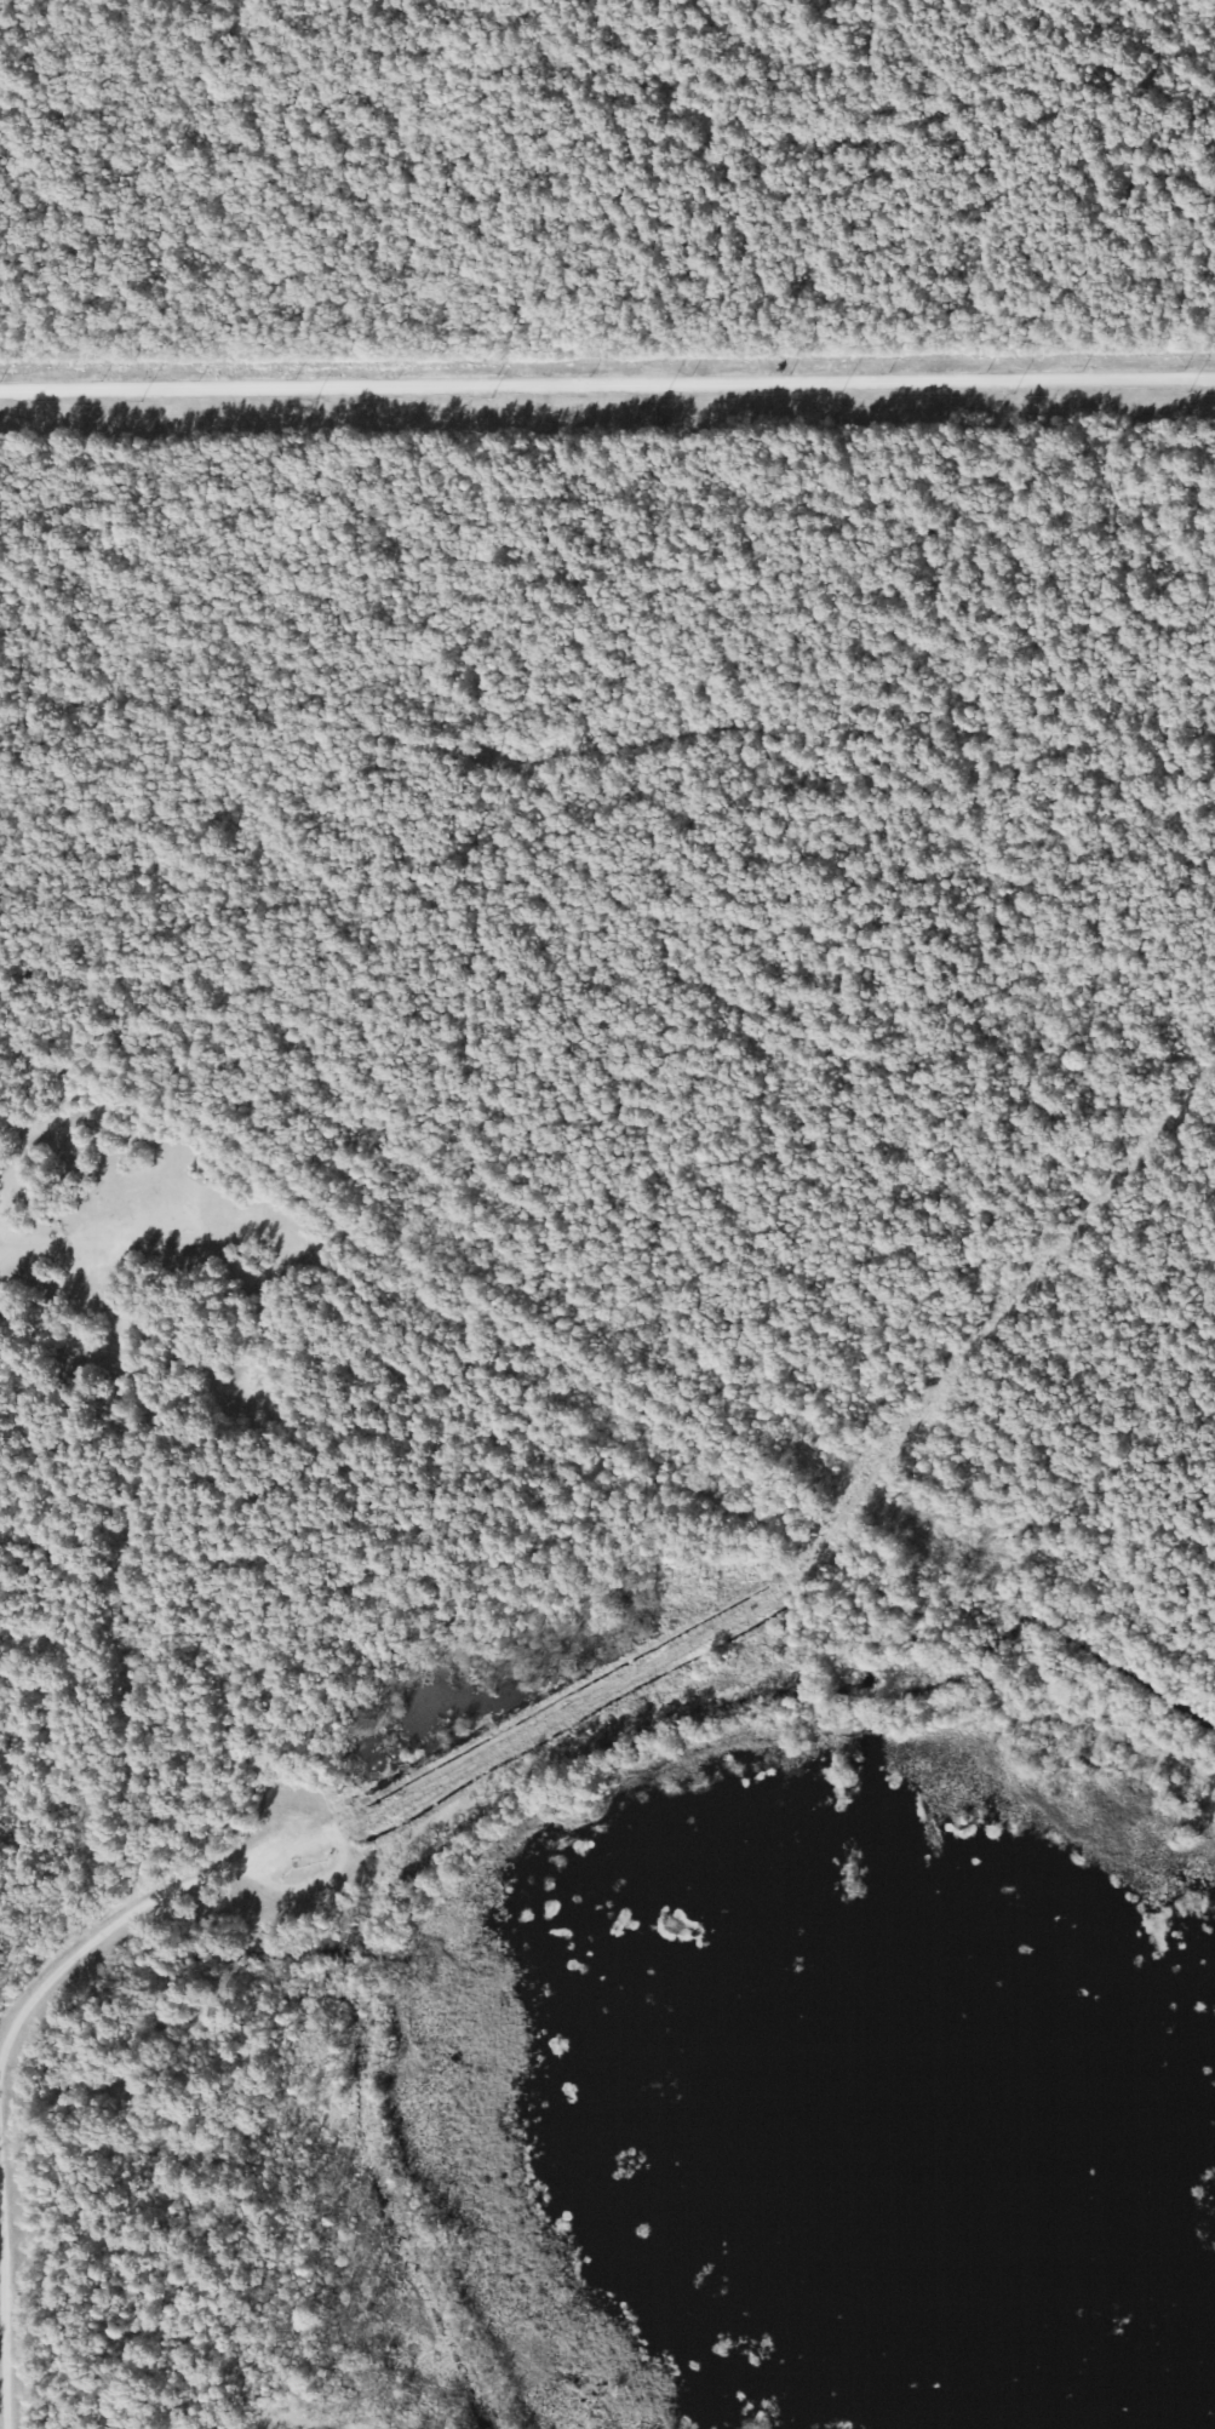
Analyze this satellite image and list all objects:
road: (2, 2057)
road: (6, 2302)

